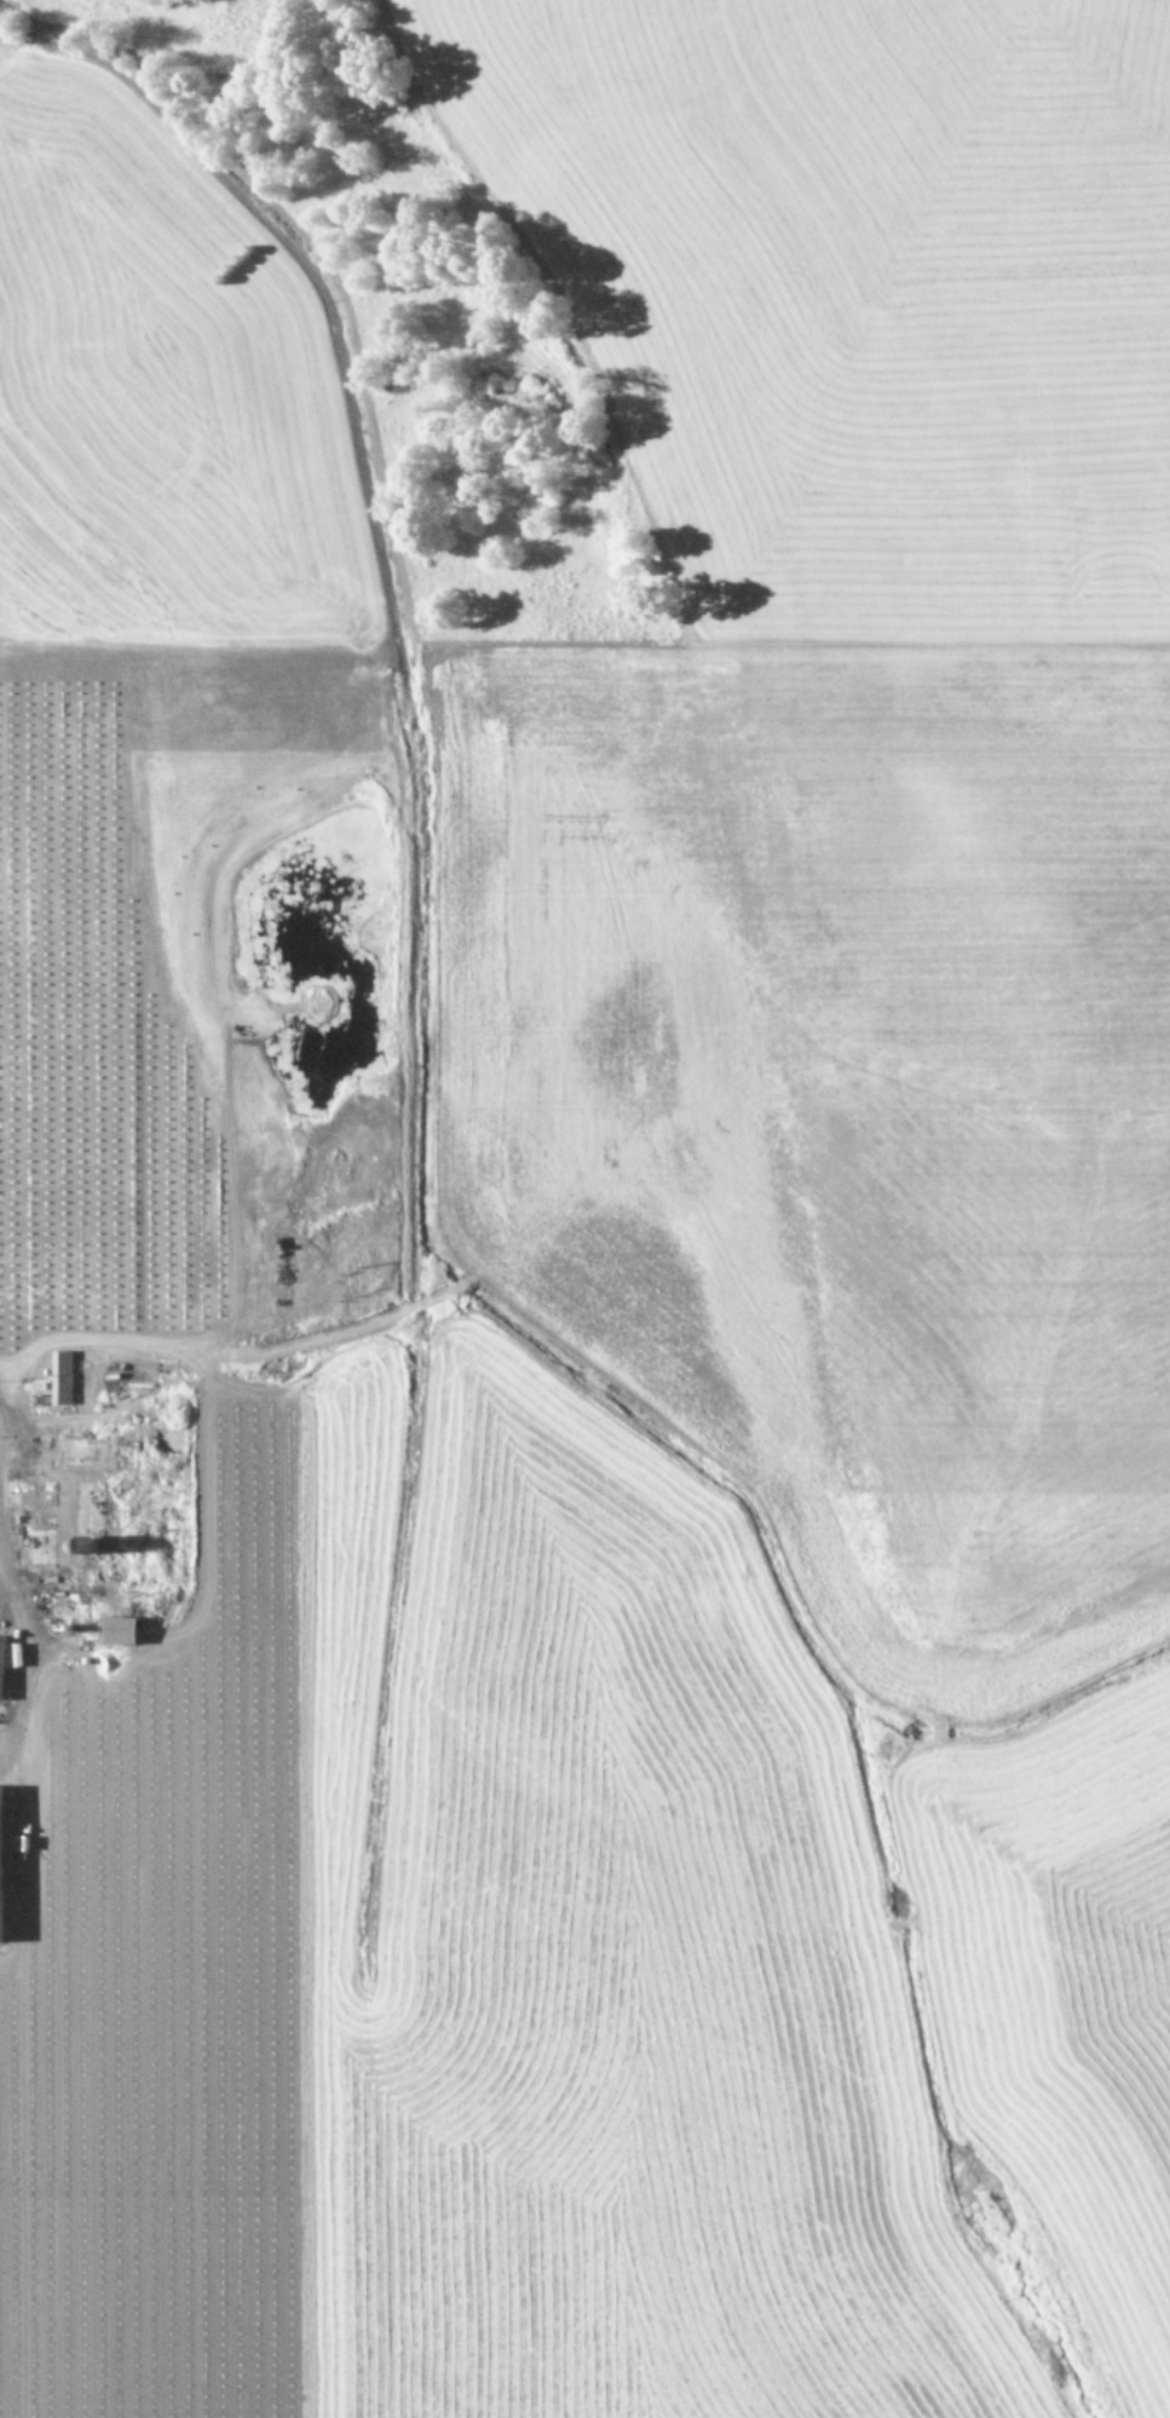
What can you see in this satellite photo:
crop: (600, 1277)
building: (60, 1376)
building: (119, 1629)
building: (0, 1669)
road: (13, 1676)

